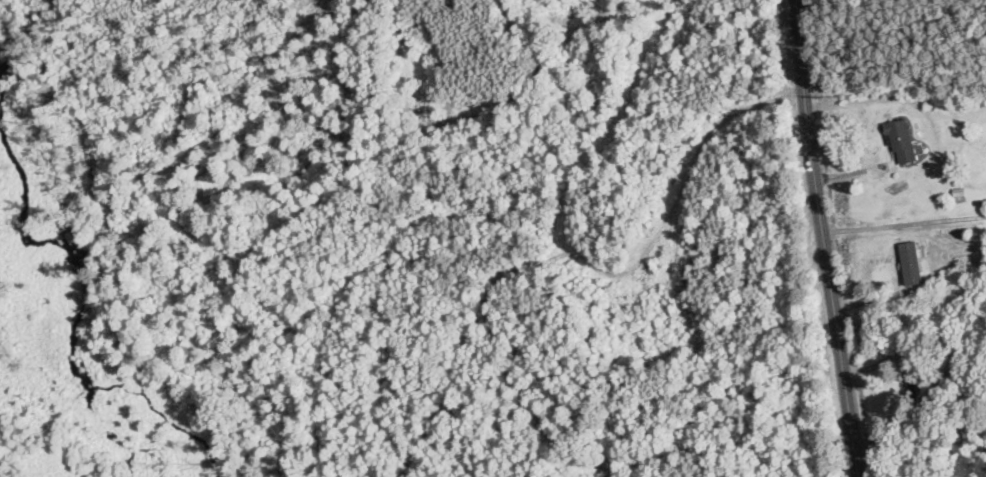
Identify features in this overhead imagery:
building: (902, 139)
road: (904, 224)
road: (823, 239)
building: (911, 261)
road: (892, 294)

